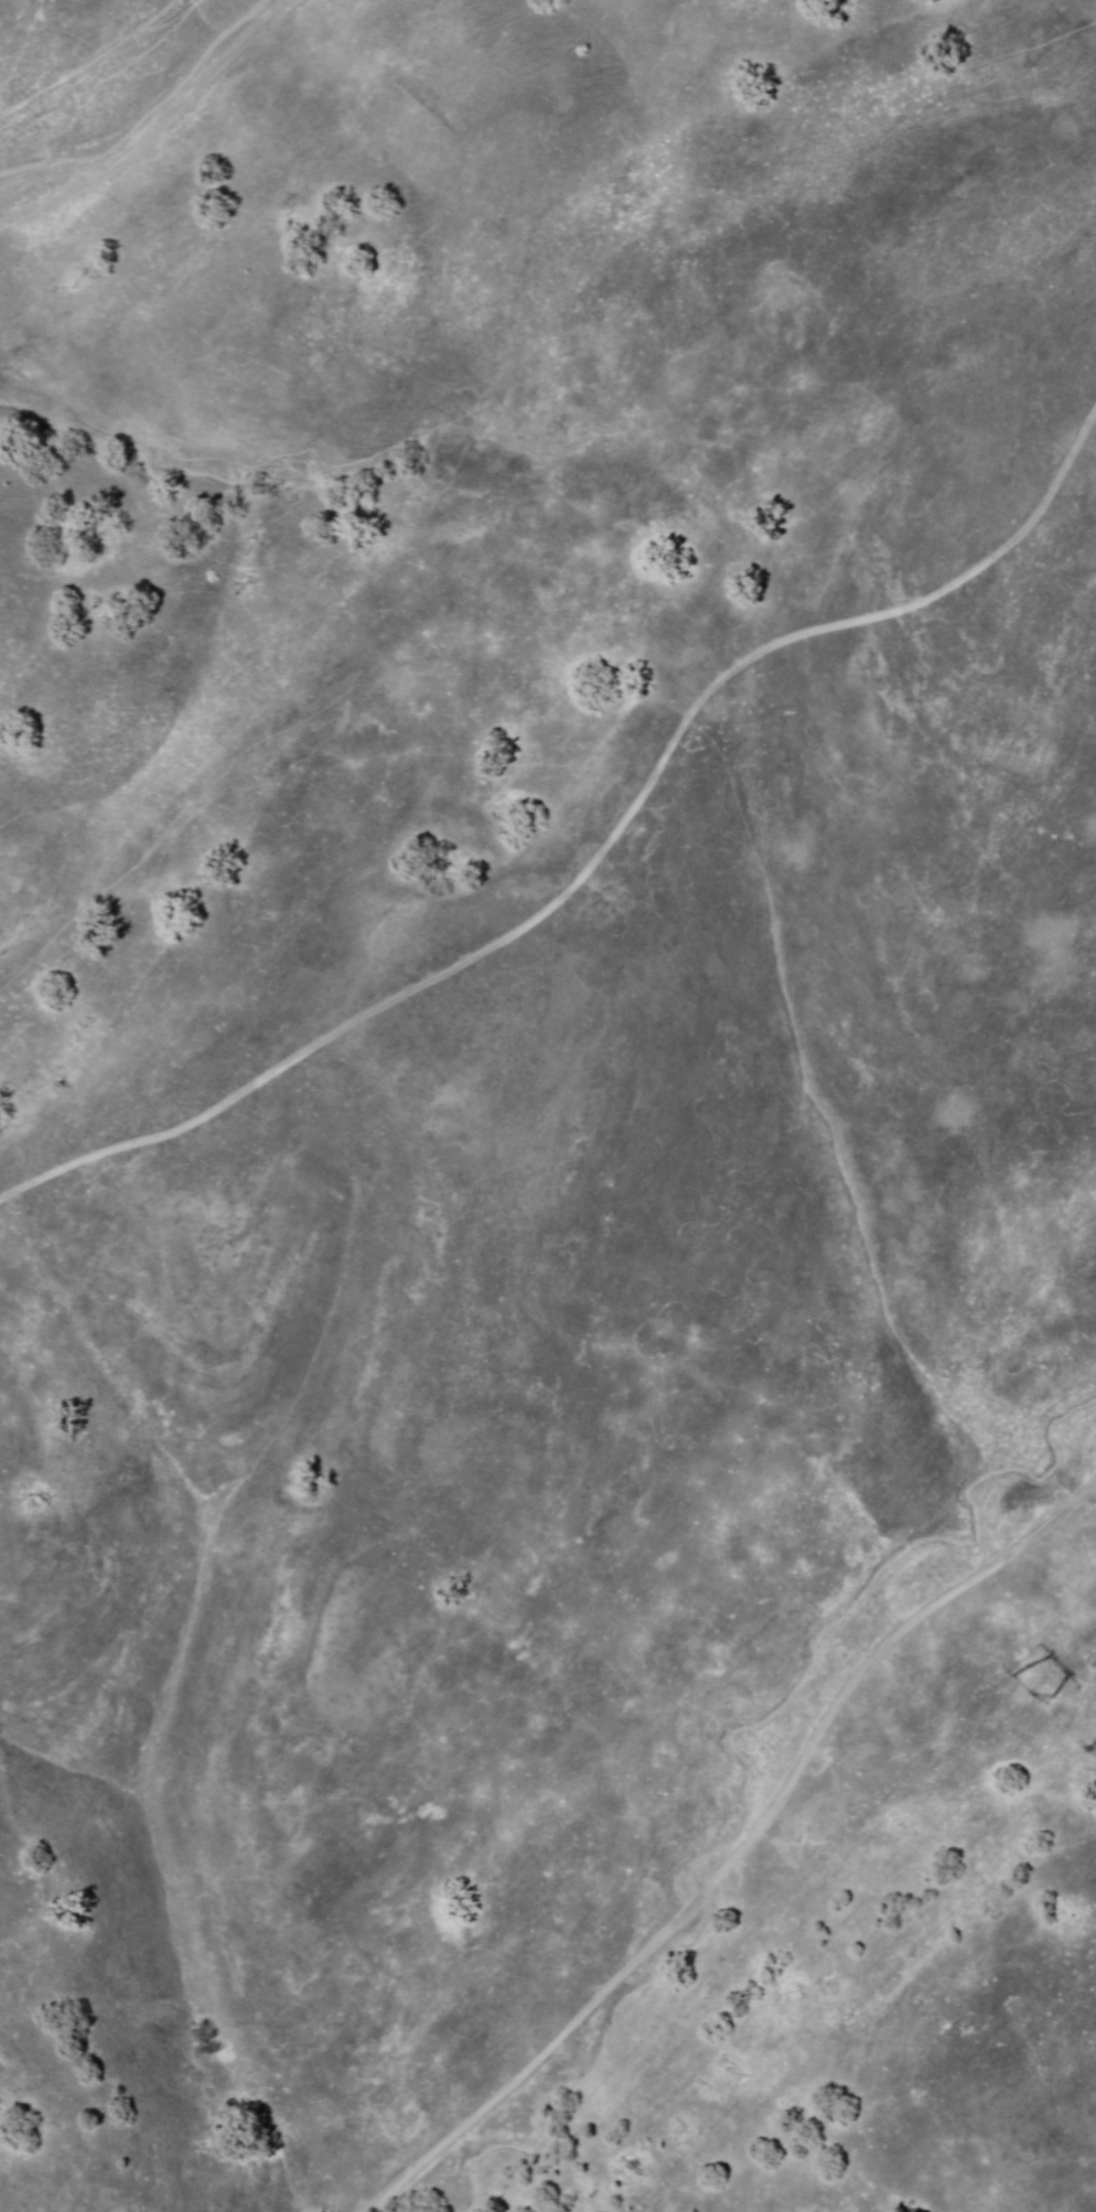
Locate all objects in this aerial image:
road: (161, 133)
road: (601, 859)
power tower: (1033, 1697)
road: (740, 1853)

